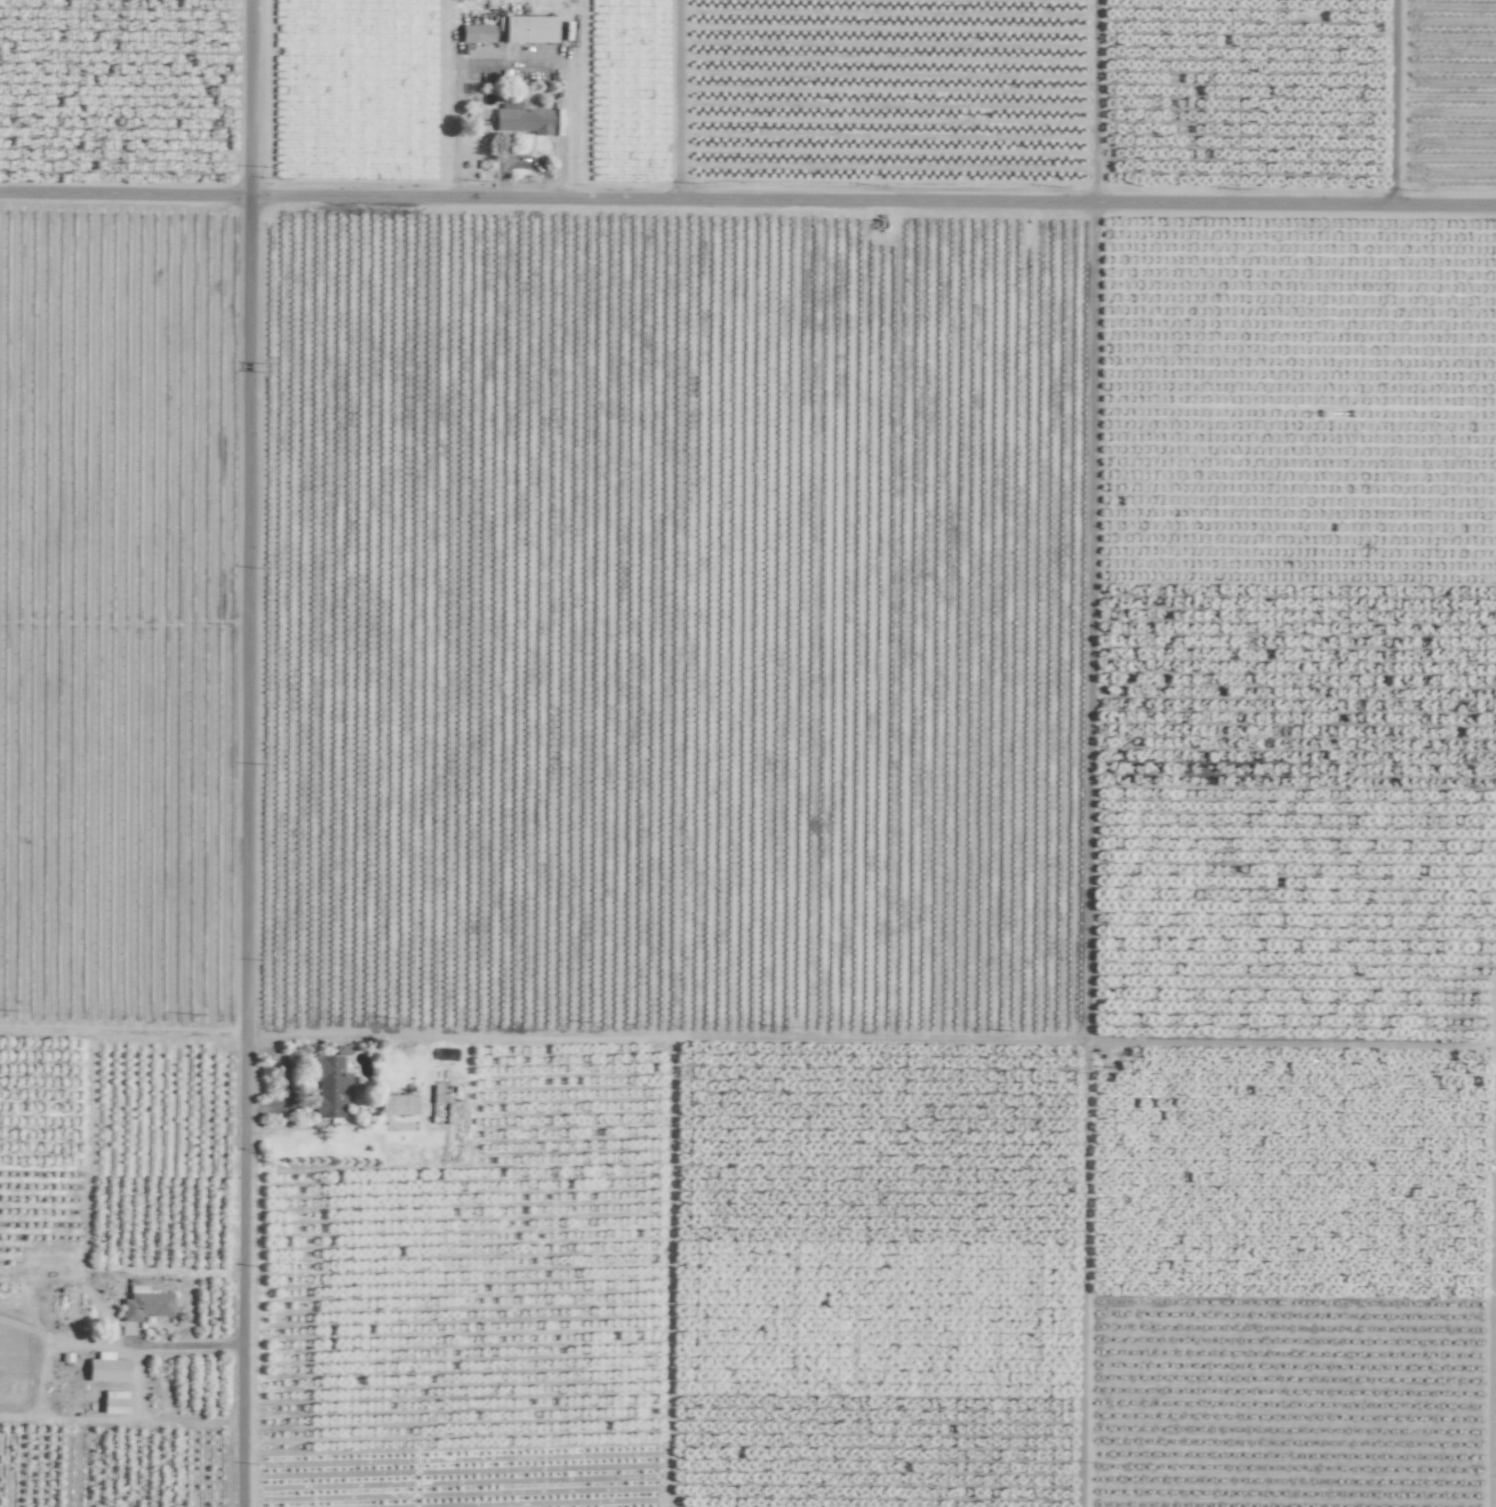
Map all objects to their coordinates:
road: (509, 7)
building: (528, 29)
building: (476, 34)
building: (523, 120)
road: (747, 204)
road: (250, 753)
road: (293, 1082)
building: (331, 1084)
building: (397, 1105)
building: (145, 1305)
road: (182, 1345)
building: (107, 1369)
building: (114, 1398)

